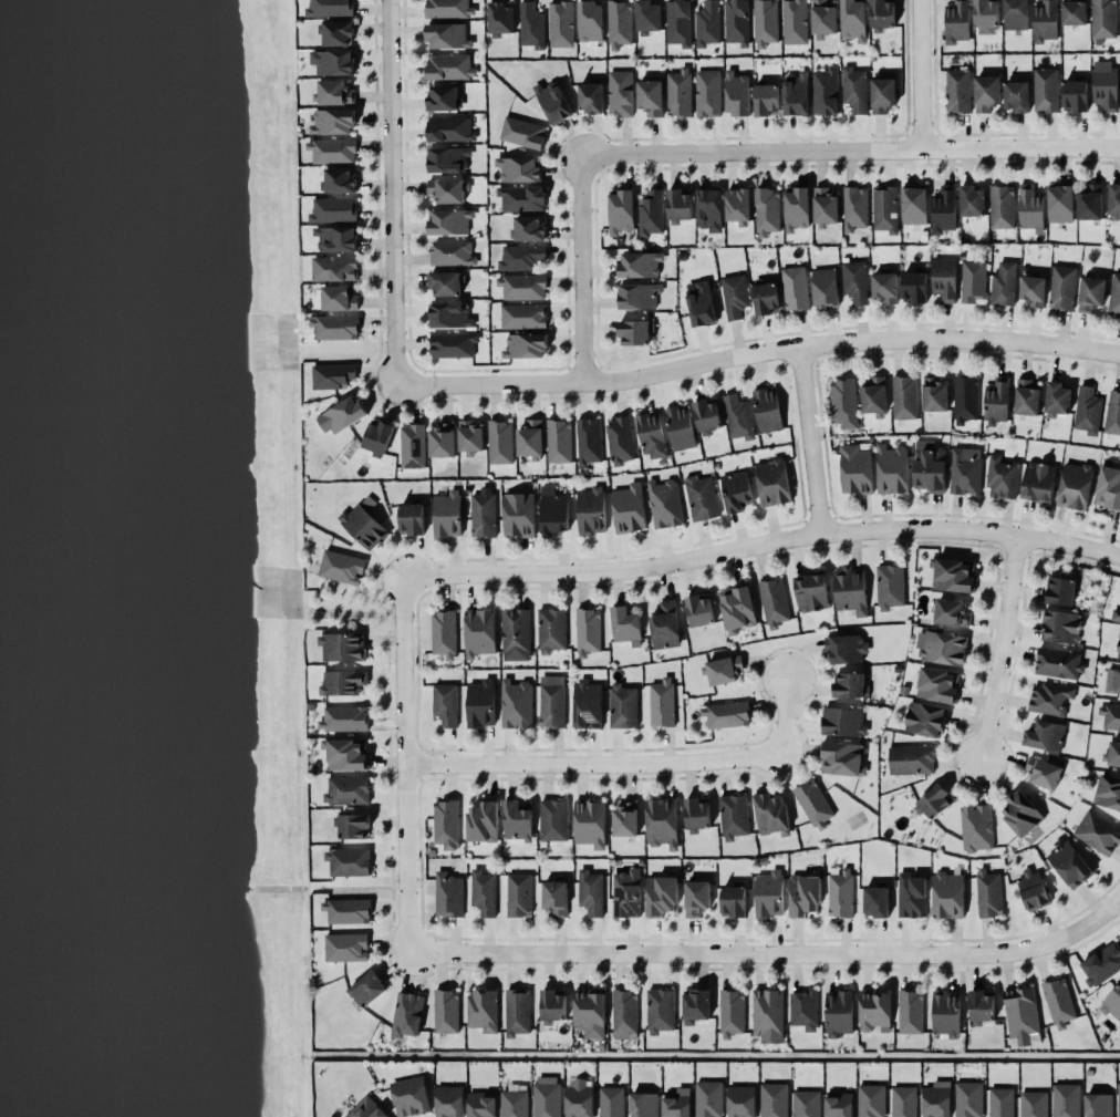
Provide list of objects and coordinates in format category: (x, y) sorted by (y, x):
building: (330, 8)
building: (449, 9)
building: (1074, 11)
building: (986, 13)
building: (882, 14)
building: (1015, 14)
building: (647, 17)
building: (500, 18)
building: (823, 18)
building: (1103, 19)
building: (853, 20)
building: (590, 21)
building: (736, 21)
building: (794, 21)
building: (1045, 21)
building: (678, 22)
building: (765, 22)
building: (957, 22)
building: (560, 23)
building: (619, 23)
building: (707, 23)
building: (531, 25)
building: (338, 32)
building: (447, 35)
building: (333, 61)
building: (449, 66)
road: (915, 75)
building: (1105, 84)
building: (853, 90)
building: (957, 90)
building: (1046, 90)
building: (825, 91)
building: (335, 92)
building: (678, 92)
building: (620, 93)
building: (707, 93)
building: (737, 93)
building: (986, 93)
building: (796, 94)
building: (883, 94)
building: (1017, 95)
building: (1075, 95)
building: (590, 96)
building: (650, 96)
building: (444, 97)
building: (766, 100)
building: (553, 102)
building: (332, 121)
building: (449, 128)
building: (522, 132)
building: (332, 151)
road: (736, 154)
building: (447, 159)
building: (518, 168)
building: (340, 179)
building: (446, 189)
road: (390, 193)
building: (521, 198)
building: (972, 200)
building: (1090, 201)
building: (1113, 201)
building: (1060, 204)
building: (678, 205)
building: (914, 205)
building: (738, 206)
building: (1002, 206)
building: (826, 207)
building: (797, 208)
building: (854, 208)
building: (884, 208)
building: (1030, 208)
building: (333, 209)
building: (708, 209)
building: (943, 209)
building: (767, 210)
building: (621, 211)
building: (651, 213)
building: (449, 221)
building: (529, 228)
building: (336, 238)
building: (452, 252)
building: (520, 257)
building: (640, 263)
building: (334, 268)
building: (944, 279)
building: (973, 280)
building: (854, 281)
building: (445, 283)
building: (1003, 283)
building: (522, 287)
building: (825, 287)
building: (885, 287)
building: (914, 287)
building: (1061, 287)
building: (795, 288)
building: (1033, 290)
building: (1091, 293)
building: (637, 296)
building: (735, 296)
building: (1114, 296)
building: (339, 298)
building: (766, 298)
building: (701, 302)
building: (449, 316)
building: (523, 316)
building: (334, 327)
building: (634, 332)
building: (453, 345)
building: (526, 345)
road: (756, 353)
building: (332, 375)
building: (934, 394)
building: (873, 396)
building: (904, 397)
building: (1027, 397)
building: (965, 399)
building: (1057, 399)
building: (996, 401)
building: (843, 403)
building: (767, 410)
building: (1087, 410)
building: (1112, 413)
building: (340, 415)
building: (707, 415)
building: (738, 416)
building: (680, 427)
building: (651, 435)
building: (377, 436)
building: (470, 437)
building: (529, 438)
building: (442, 439)
building: (619, 439)
road: (808, 439)
building: (559, 441)
building: (588, 441)
building: (499, 442)
building: (412, 445)
building: (929, 466)
building: (892, 468)
building: (855, 469)
building: (965, 469)
building: (1002, 477)
building: (772, 482)
building: (1038, 482)
building: (1075, 485)
building: (1108, 485)
building: (736, 490)
building: (701, 497)
building: (664, 503)
building: (629, 508)
building: (552, 510)
building: (591, 510)
building: (483, 513)
building: (447, 514)
building: (518, 514)
building: (412, 517)
building: (364, 523)
road: (759, 542)
building: (341, 567)
building: (954, 575)
building: (890, 586)
building: (850, 590)
building: (1061, 590)
building: (811, 591)
building: (774, 602)
building: (699, 609)
building: (737, 609)
building: (952, 612)
building: (1116, 614)
building: (625, 625)
building: (665, 625)
building: (1061, 625)
building: (551, 630)
building: (588, 631)
building: (479, 632)
building: (444, 633)
building: (516, 633)
building: (343, 645)
building: (1119, 647)
building: (847, 648)
building: (941, 648)
road: (998, 651)
building: (1058, 662)
building: (724, 669)
building: (1112, 680)
building: (343, 682)
building: (937, 684)
building: (849, 685)
building: (1049, 699)
building: (552, 701)
building: (662, 702)
building: (445, 703)
building: (480, 703)
building: (516, 703)
building: (587, 704)
building: (623, 705)
building: (725, 714)
building: (1110, 715)
building: (344, 718)
building: (925, 718)
building: (843, 721)
building: (1045, 735)
building: (1113, 753)
building: (346, 754)
building: (842, 758)
building: (911, 759)
road: (626, 762)
road: (401, 763)
building: (1044, 773)
building: (346, 790)
building: (1108, 792)
building: (935, 800)
building: (813, 803)
building: (697, 814)
building: (770, 814)
building: (1020, 814)
building: (734, 816)
building: (625, 818)
building: (553, 819)
building: (517, 820)
building: (481, 821)
building: (590, 823)
building: (662, 823)
building: (446, 824)
building: (354, 826)
building: (976, 827)
building: (1098, 831)
building: (349, 861)
building: (1068, 863)
building: (1033, 889)
building: (484, 891)
building: (590, 892)
building: (840, 892)
building: (988, 892)
building: (518, 893)
building: (626, 893)
building: (769, 893)
building: (448, 894)
building: (803, 894)
building: (947, 894)
road: (1119, 894)
building: (661, 896)
building: (911, 896)
road: (1119, 896)
building: (696, 897)
building: (554, 898)
building: (733, 901)
building: (877, 901)
building: (346, 910)
building: (345, 947)
road: (768, 952)
building: (1101, 964)
building: (366, 989)
building: (1058, 1002)
building: (1112, 1003)
building: (552, 1004)
building: (695, 1005)
building: (982, 1005)
building: (483, 1010)
building: (803, 1010)
building: (873, 1010)
building: (446, 1011)
building: (517, 1011)
building: (660, 1011)
building: (590, 1012)
building: (732, 1012)
building: (839, 1012)
building: (910, 1012)
building: (946, 1012)
building: (1022, 1012)
building: (406, 1014)
building: (624, 1014)
building: (768, 1015)
building: (409, 1096)
building: (546, 1096)
building: (707, 1098)
building: (774, 1099)
building: (936, 1099)
building: (968, 1099)
building: (1118, 1099)
building: (448, 1100)
building: (579, 1100)
building: (742, 1100)
building: (871, 1100)
building: (1066, 1100)
building: (611, 1102)
building: (904, 1102)
building: (1000, 1102)
building: (514, 1103)
building: (676, 1103)
building: (806, 1103)
building: (481, 1104)
building: (643, 1104)
building: (839, 1104)
building: (1034, 1104)
building: (1099, 1105)
building: (366, 1109)

